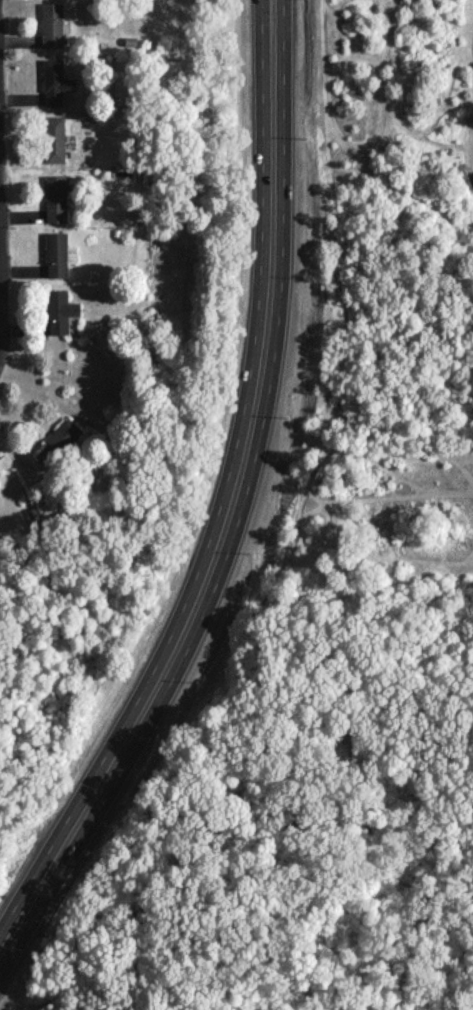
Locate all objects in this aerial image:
building: (52, 24)
building: (56, 82)
building: (54, 138)
building: (56, 198)
building: (58, 254)
building: (60, 310)
building: (58, 442)
road: (234, 502)

